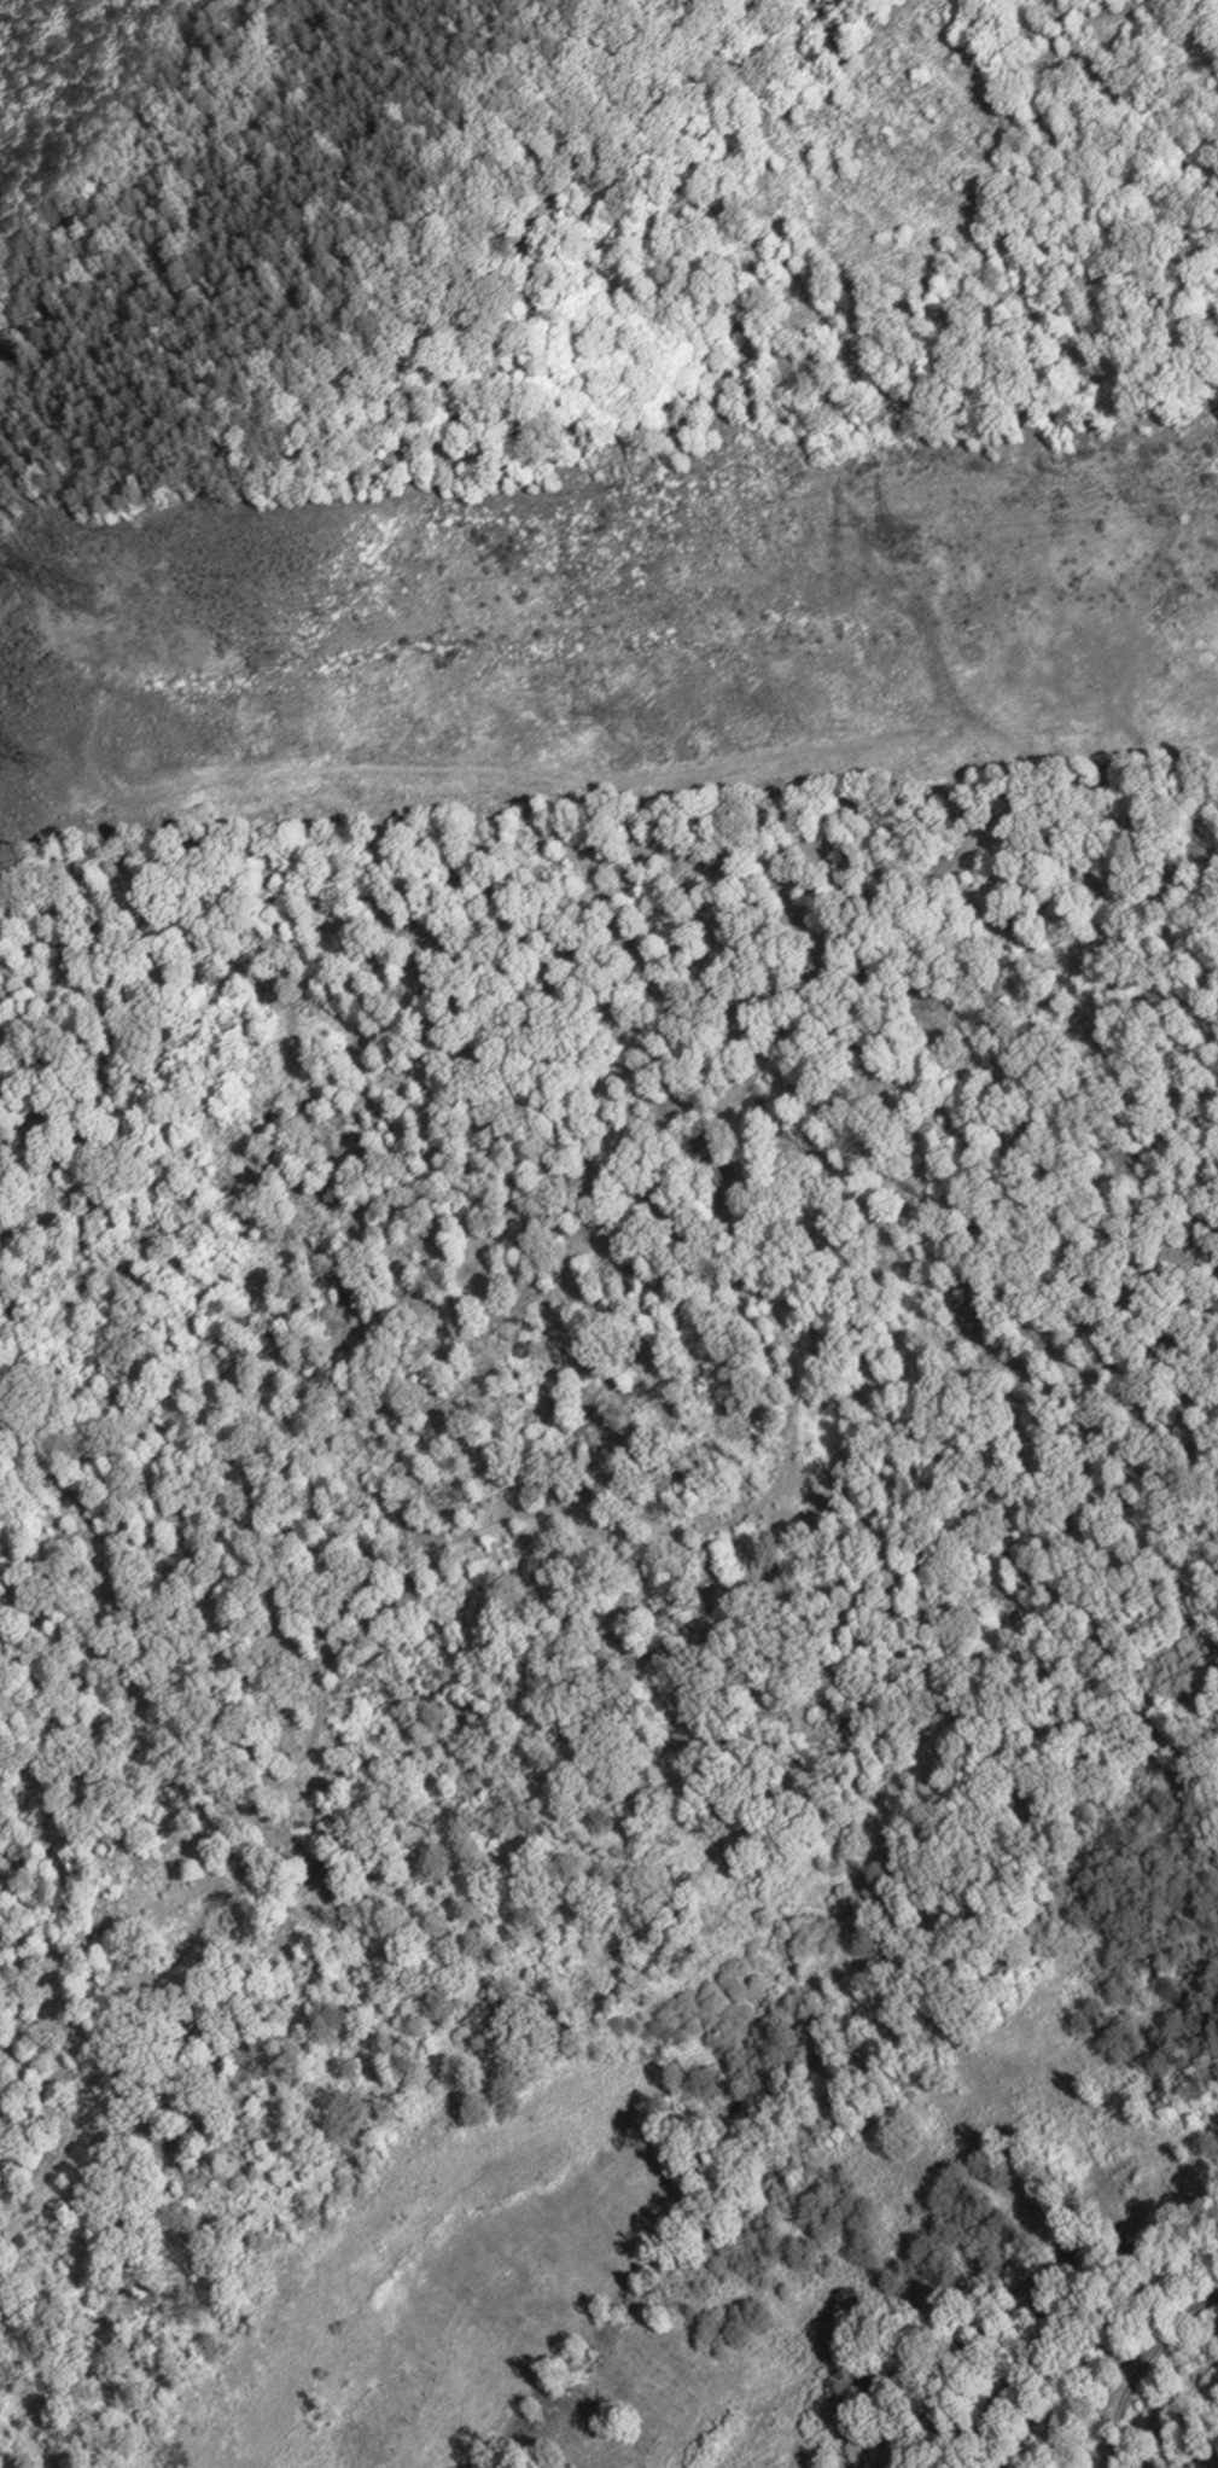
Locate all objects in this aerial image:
power tower: (905, 545)
power tower: (83, 600)
power tower: (628, 727)
power tower: (40, 766)
road: (1140, 2364)

